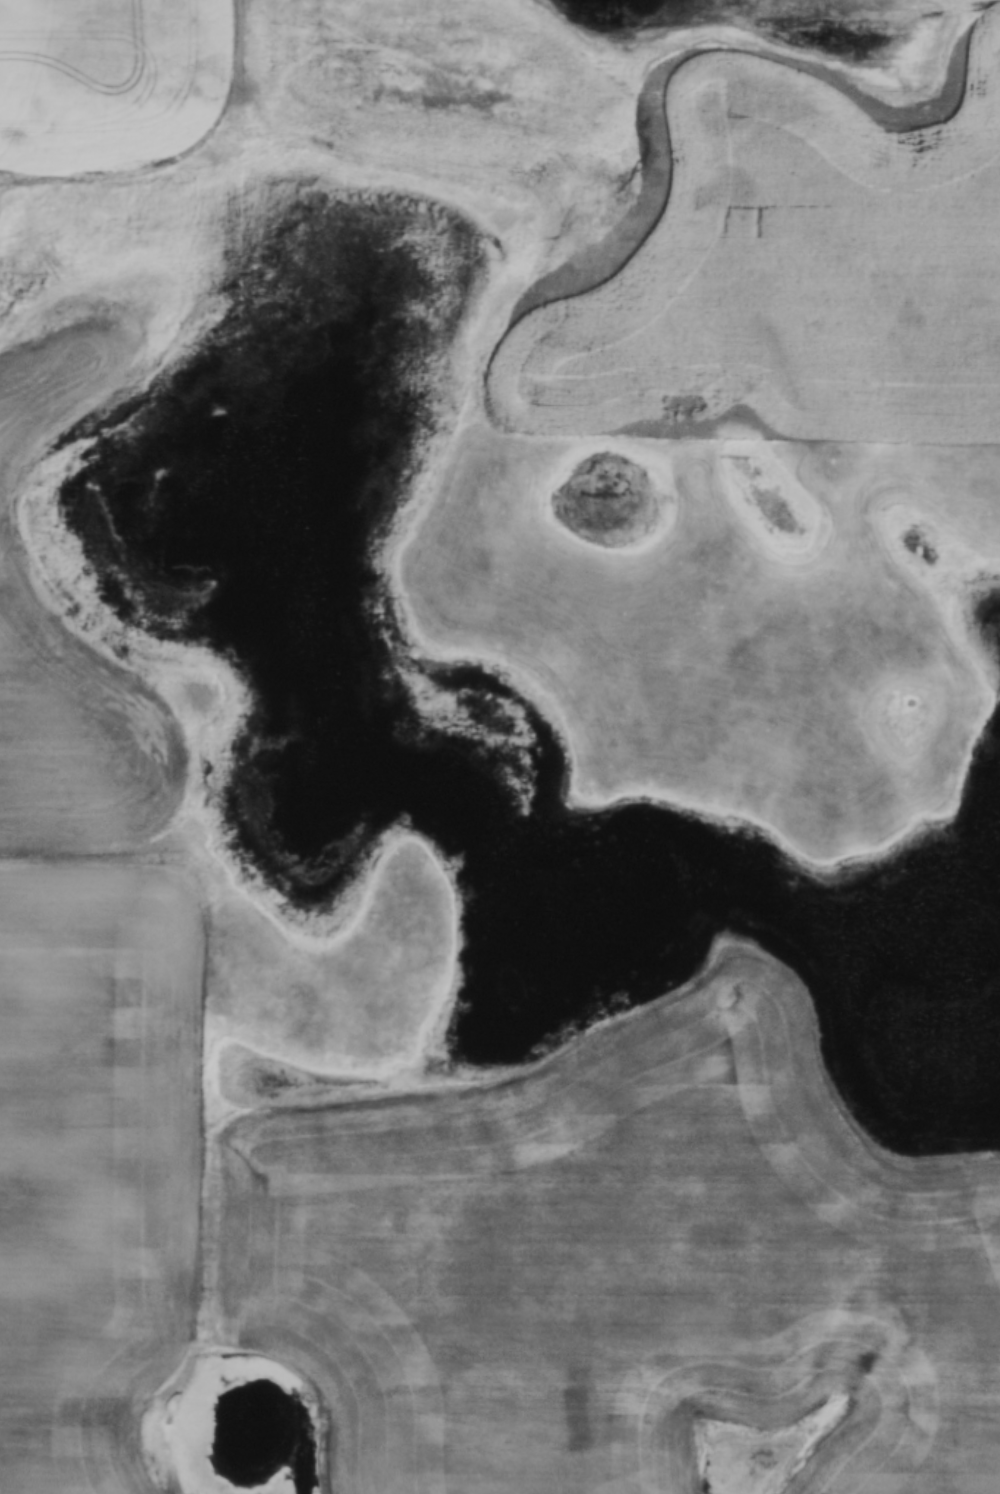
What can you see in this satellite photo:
road: (68, 107)
road: (211, 916)

